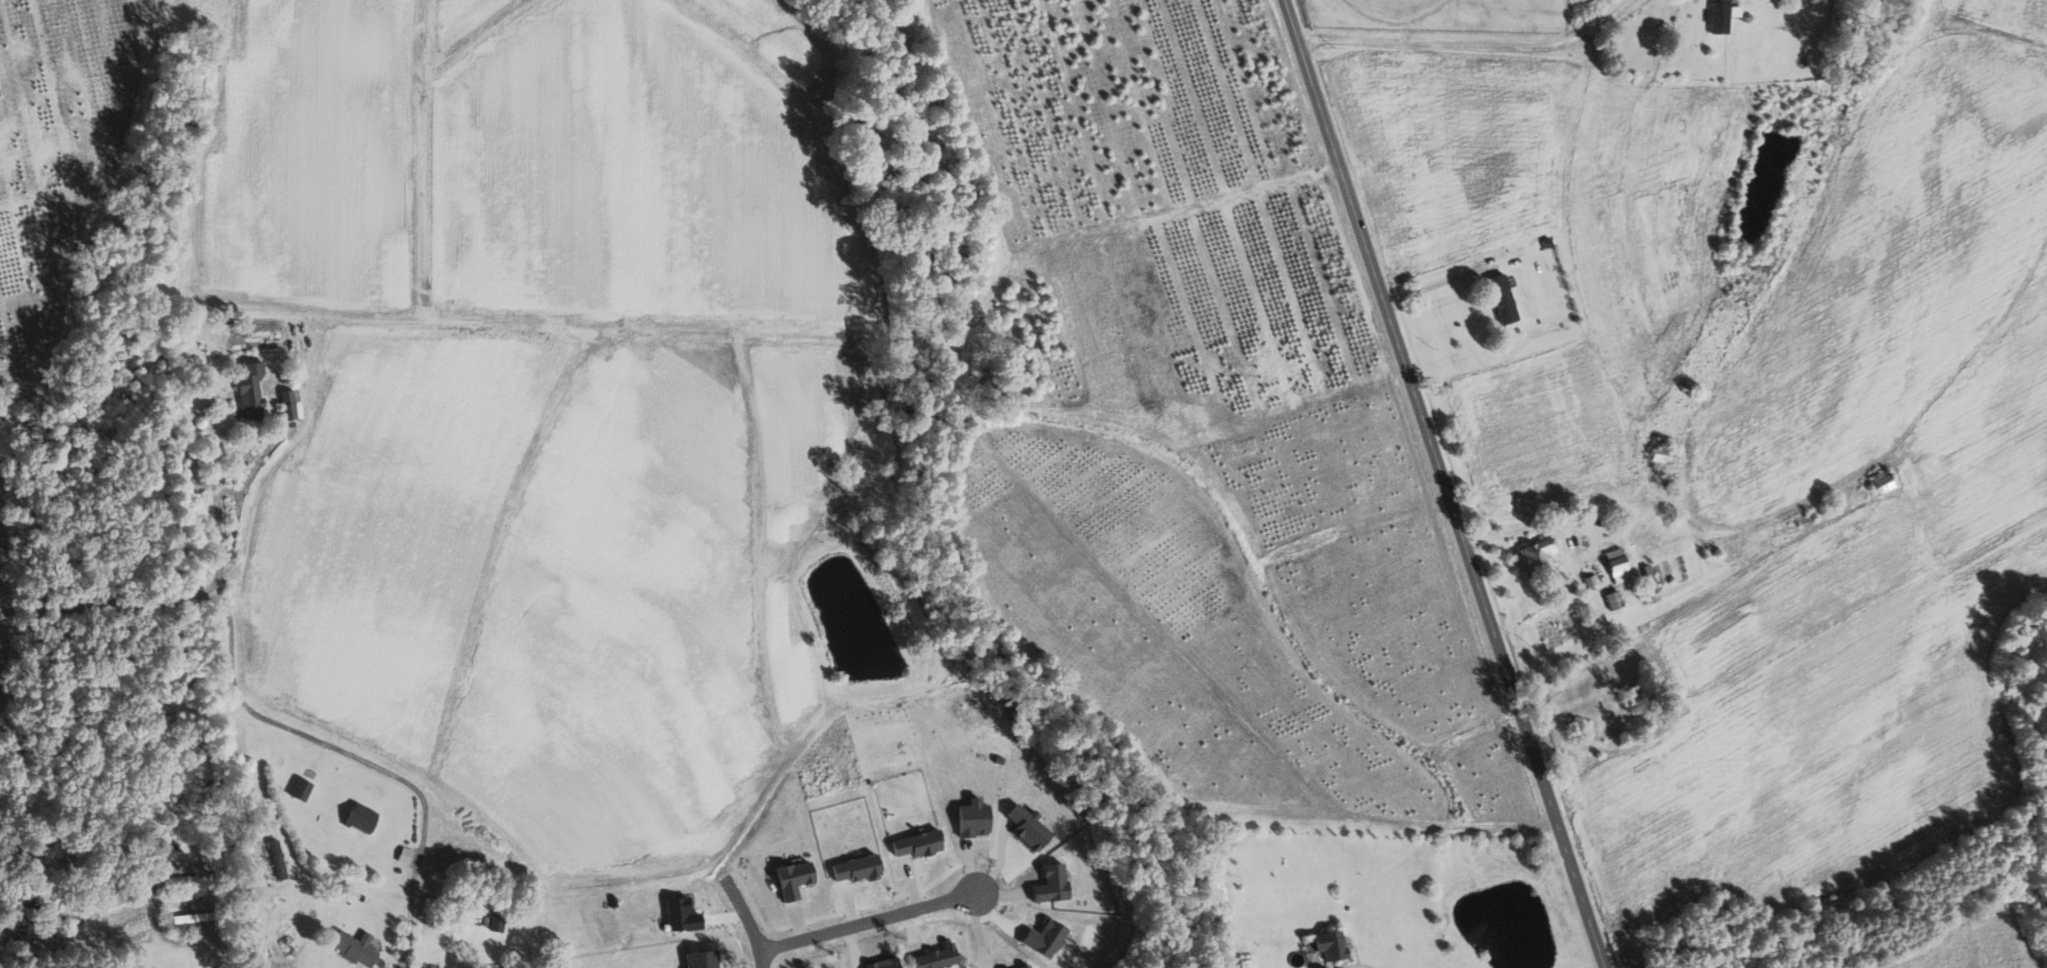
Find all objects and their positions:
building: (1720, 17)
road: (1468, 46)
road: (1430, 286)
building: (1502, 298)
building: (250, 389)
building: (290, 404)
building: (1662, 457)
road: (1441, 485)
road: (1561, 524)
building: (1537, 557)
building: (1618, 565)
road: (189, 594)
building: (1613, 600)
road: (357, 757)
building: (300, 789)
building: (360, 818)
building: (972, 820)
building: (1028, 828)
building: (917, 844)
building: (404, 855)
building: (276, 859)
building: (856, 869)
building: (793, 880)
building: (1051, 884)
building: (681, 916)
road: (864, 919)
road: (747, 923)
building: (496, 925)
building: (1044, 938)
road: (175, 942)
building: (1330, 943)
building: (354, 948)
building: (936, 958)
building: (700, 959)
building: (1246, 963)
building: (1026, 967)

